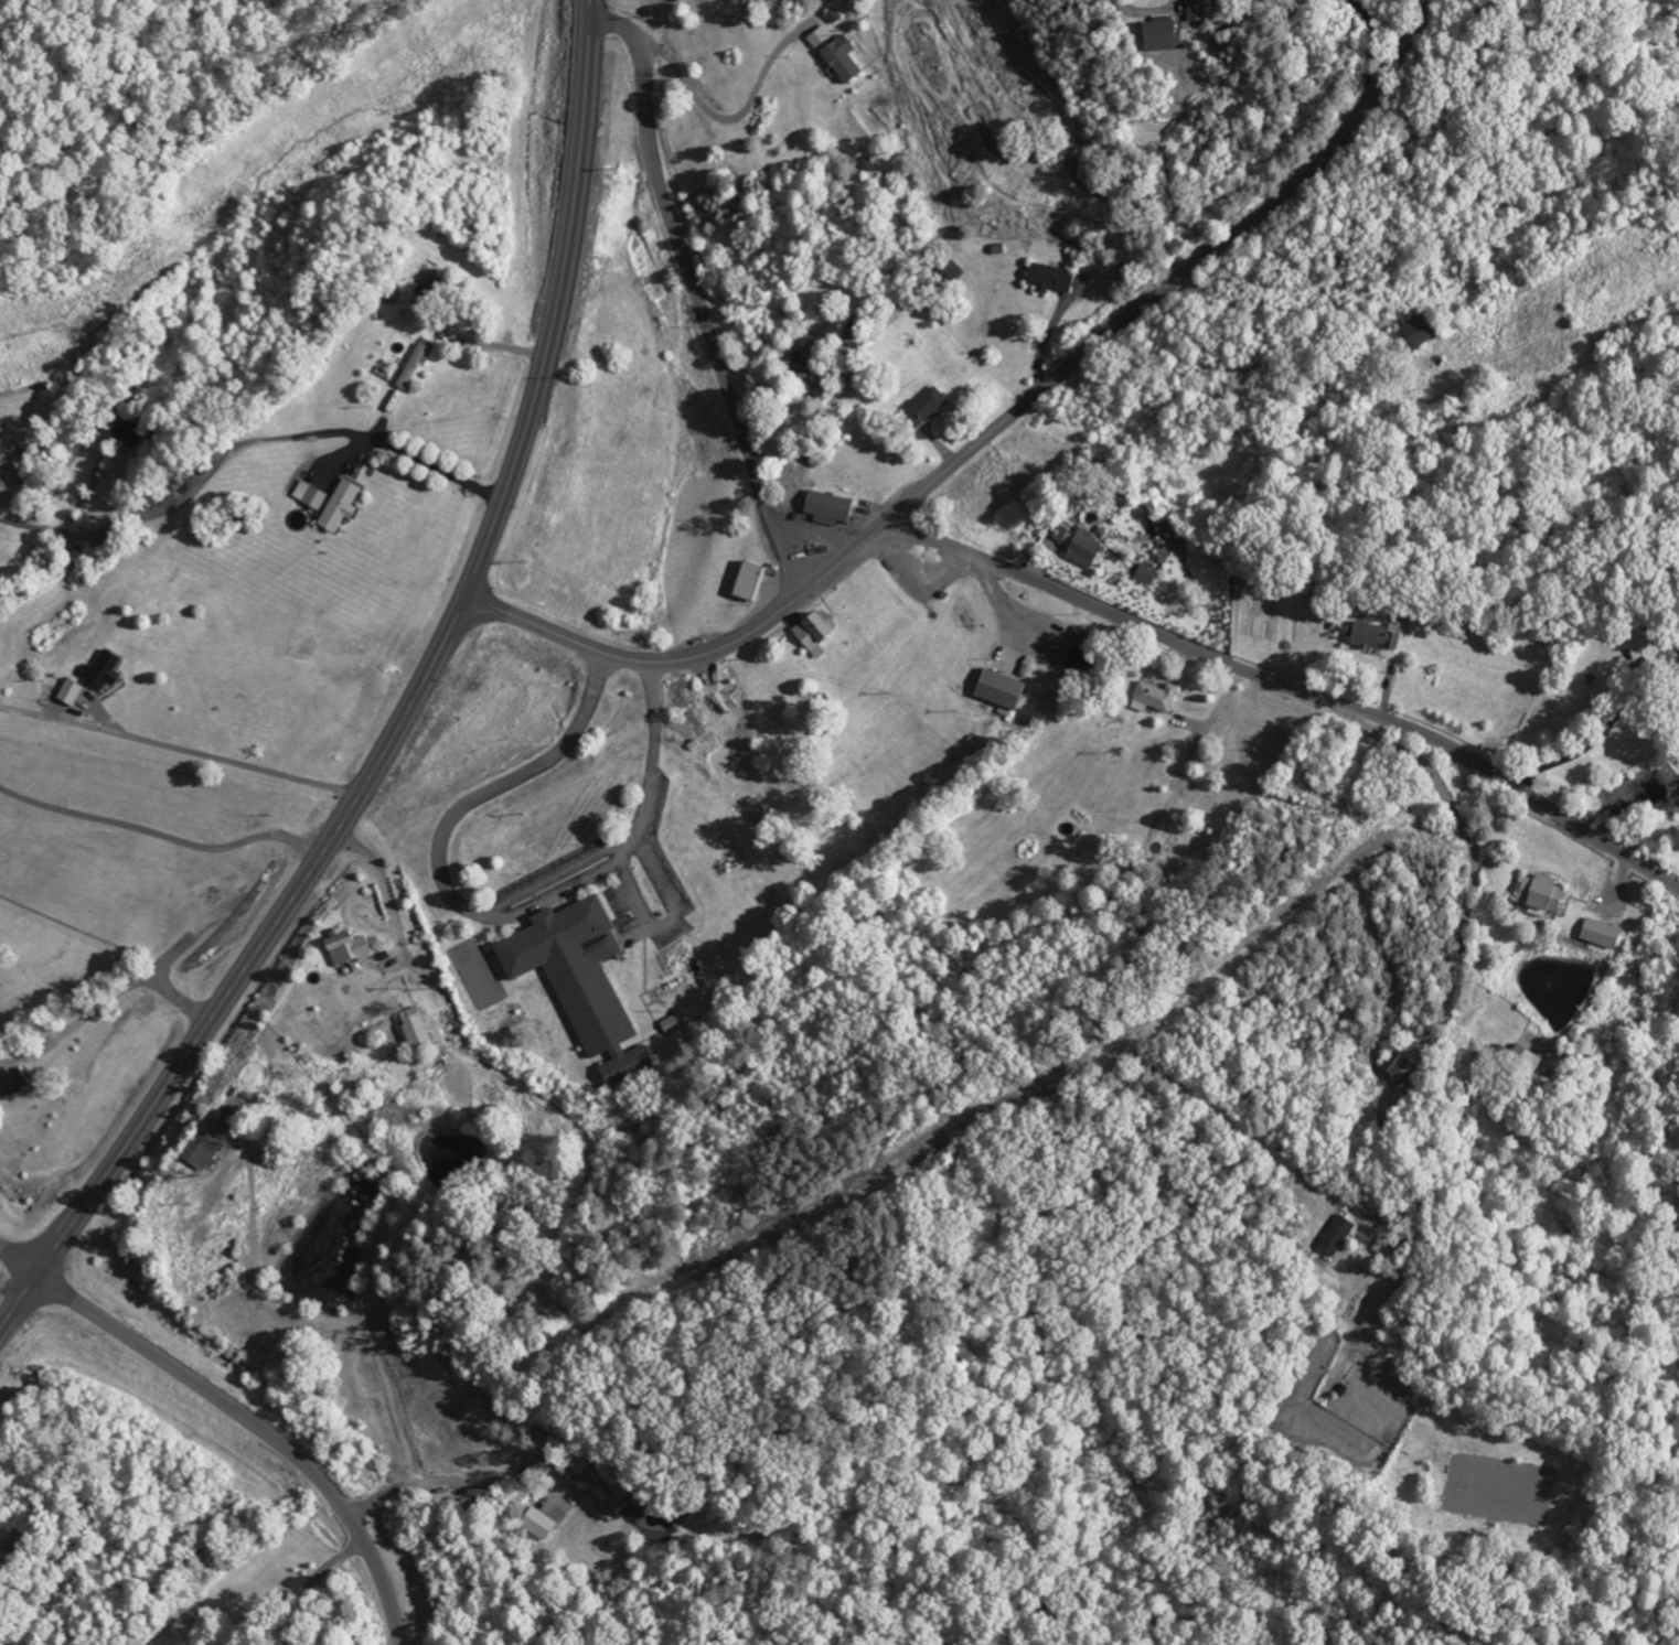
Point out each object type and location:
building: (1195, 10)
building: (1157, 34)
building: (817, 37)
road: (1378, 44)
building: (839, 60)
road: (721, 122)
road: (1181, 276)
building: (1047, 278)
road: (694, 293)
road: (557, 304)
building: (1414, 333)
road: (483, 344)
building: (413, 367)
building: (801, 367)
building: (922, 408)
road: (354, 434)
building: (296, 476)
building: (310, 496)
building: (340, 506)
building: (826, 508)
building: (1066, 509)
building: (1074, 545)
building: (1162, 552)
building: (1145, 574)
building: (747, 582)
building: (813, 633)
building: (1373, 636)
road: (694, 658)
building: (1070, 664)
building: (101, 671)
building: (1677, 682)
road: (1292, 688)
building: (996, 690)
building: (67, 694)
building: (1153, 699)
road: (1601, 728)
road: (180, 745)
road: (160, 838)
road: (1426, 839)
road: (379, 889)
building: (1539, 895)
building: (210, 897)
road: (478, 907)
building: (1600, 934)
building: (346, 949)
road: (243, 969)
building: (578, 981)
road: (103, 1001)
building: (670, 1025)
building: (414, 1030)
building: (1523, 1061)
building: (1395, 1064)
building: (9, 1083)
building: (199, 1151)
building: (1336, 1237)
road: (20, 1261)
road: (257, 1427)
building: (581, 1471)
road: (447, 1480)
building: (538, 1524)
road: (9, 1544)
road: (309, 1581)

